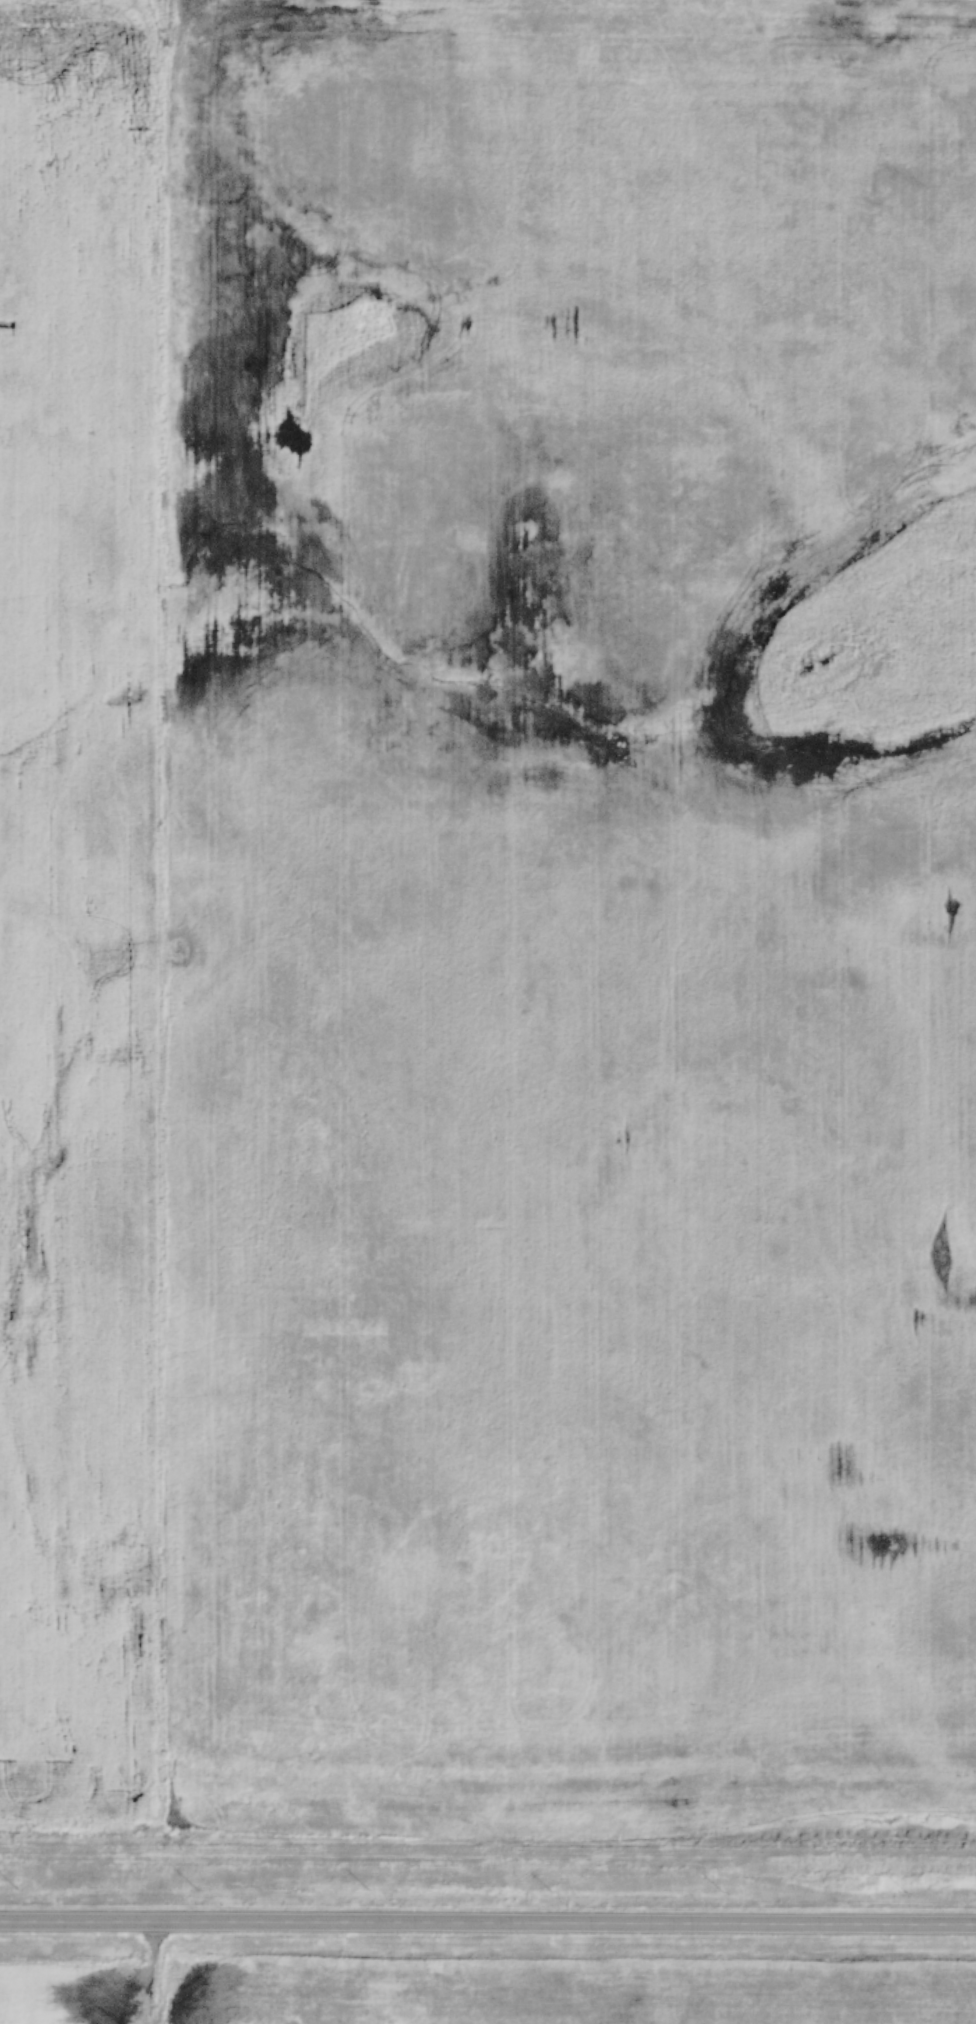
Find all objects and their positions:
road: (488, 1923)

